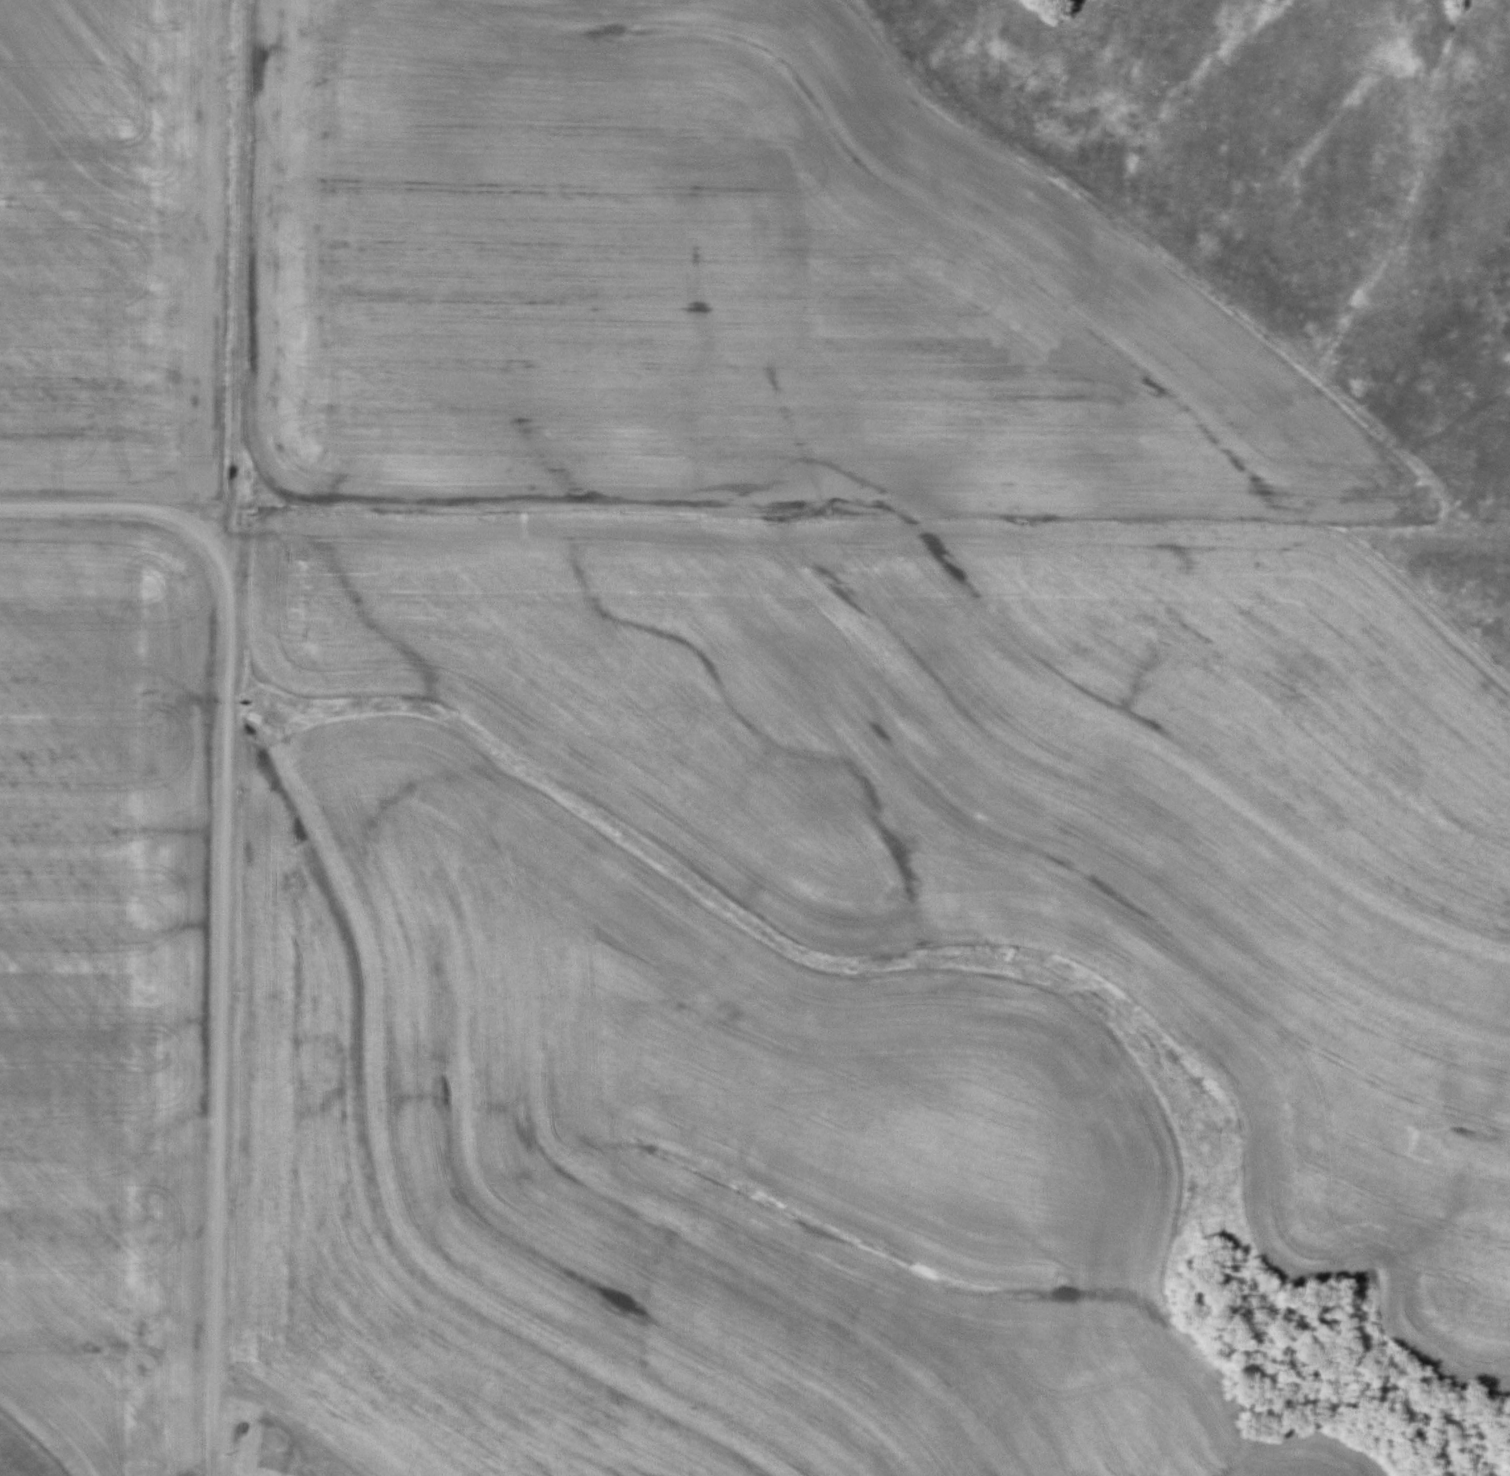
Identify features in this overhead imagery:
road: (212, 267)
road: (225, 894)

